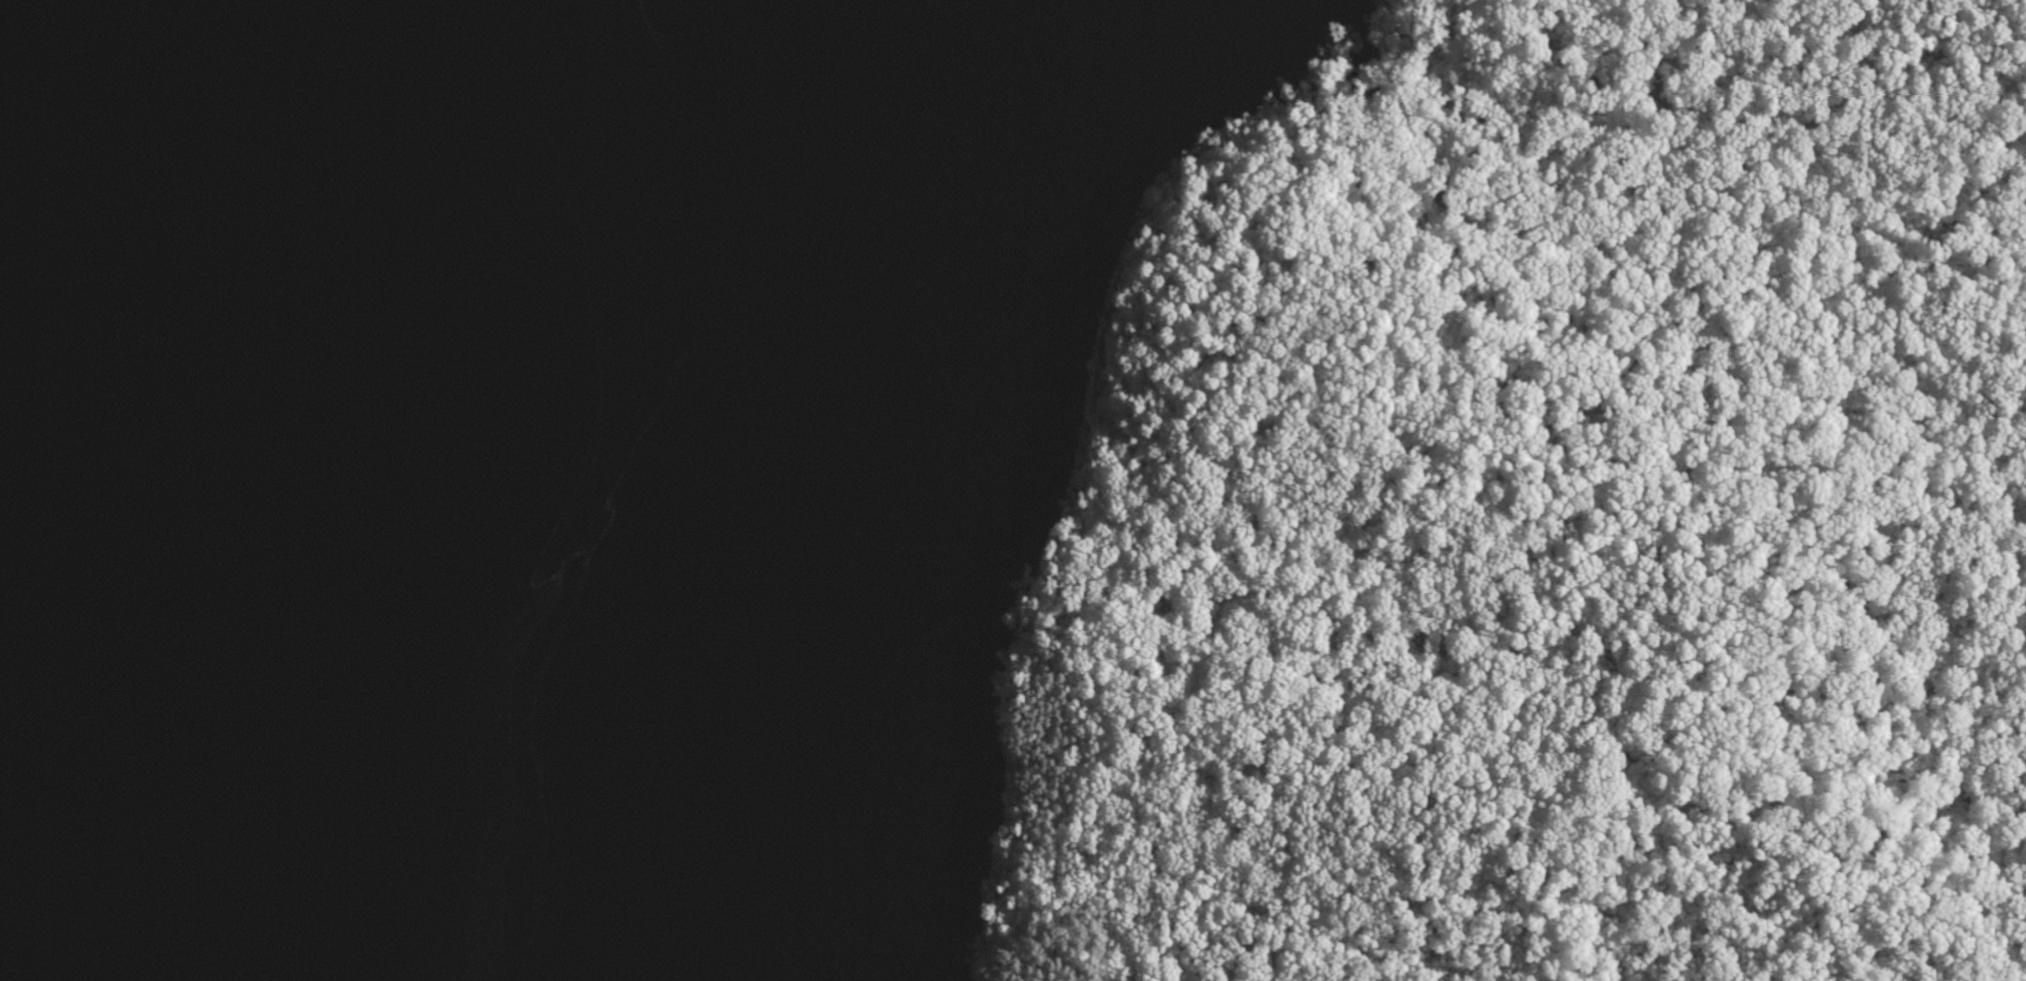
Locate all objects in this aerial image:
river: (181, 488)

